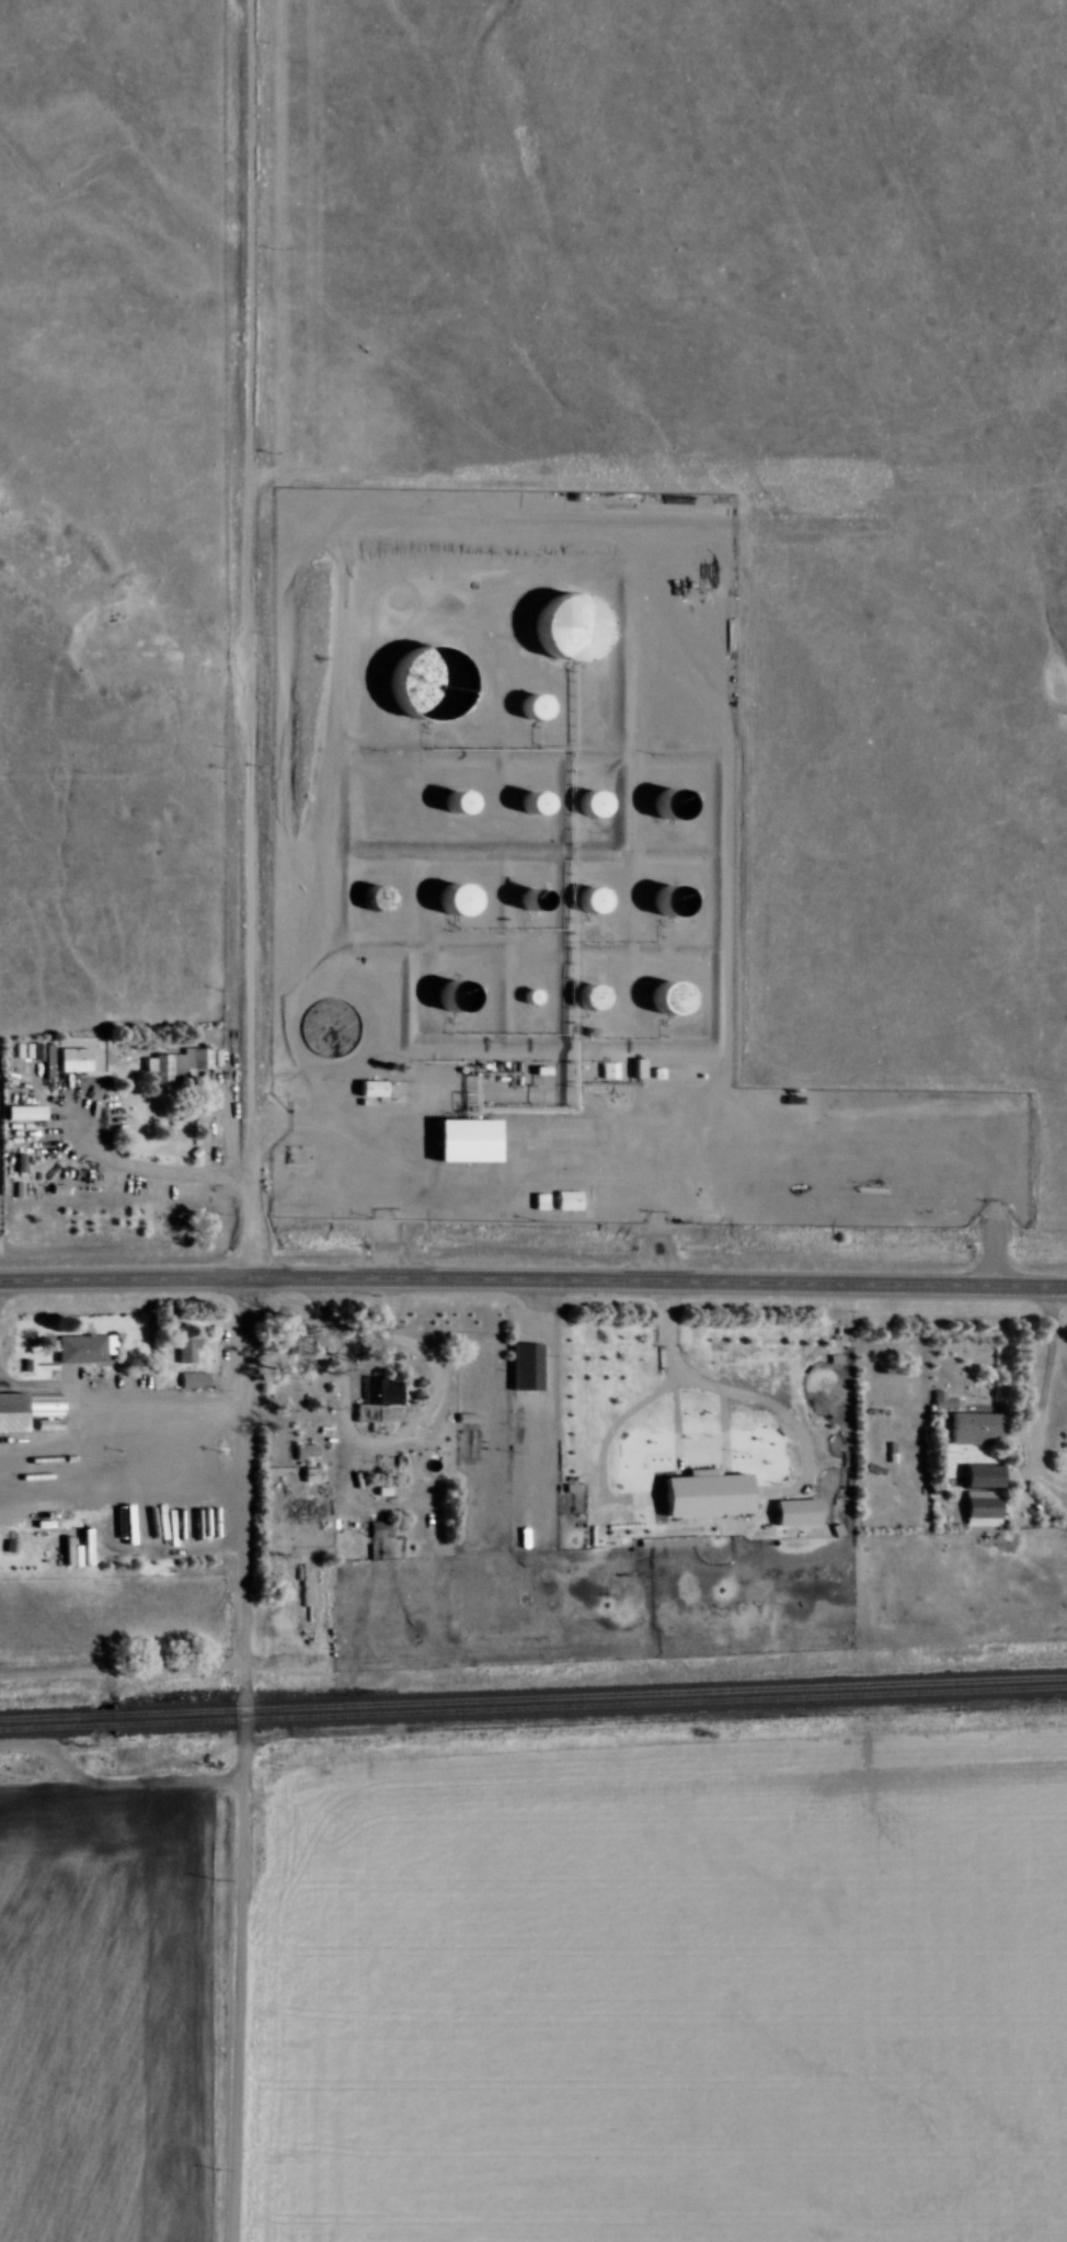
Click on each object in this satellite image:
building: (575, 627)
storage tank: (575, 627)
building: (434, 683)
storage tank: (434, 683)
building: (543, 704)
storage tank: (543, 704)
building: (469, 799)
storage tank: (469, 799)
building: (590, 800)
building: (541, 801)
storage tank: (541, 801)
building: (605, 801)
storage tank: (605, 801)
building: (675, 805)
storage tank: (675, 805)
building: (541, 897)
storage tank: (541, 897)
building: (458, 899)
storage tank: (458, 899)
building: (676, 899)
storage tank: (676, 899)
building: (590, 900)
building: (604, 900)
storage tank: (604, 900)
building: (455, 997)
storage tank: (455, 997)
building: (596, 998)
storage tank: (596, 998)
building: (674, 998)
storage tank: (674, 998)
building: (532, 999)
storage tank: (532, 999)
building: (330, 1025)
storage tank: (330, 1025)
building: (76, 1059)
building: (180, 1066)
building: (639, 1068)
building: (612, 1069)
building: (675, 1074)
road: (254, 1120)
building: (460, 1141)
road: (750, 1156)
road: (370, 1160)
road: (147, 1171)
road: (659, 1217)
road: (533, 1276)
road: (394, 1335)
building: (186, 1345)
building: (87, 1348)
building: (529, 1364)
building: (195, 1379)
road: (1047, 1379)
building: (378, 1399)
building: (948, 1399)
road: (116, 1400)
building: (12, 1411)
building: (979, 1425)
road: (378, 1441)
building: (308, 1447)
building: (311, 1471)
building: (985, 1472)
building: (983, 1506)
building: (380, 1528)
railway: (594, 1694)
railway: (595, 1705)
railway: (103, 1712)
railway: (43, 1715)
railway: (103, 1723)
railway: (42, 1726)
crop: (667, 1996)
crop: (100, 2010)

